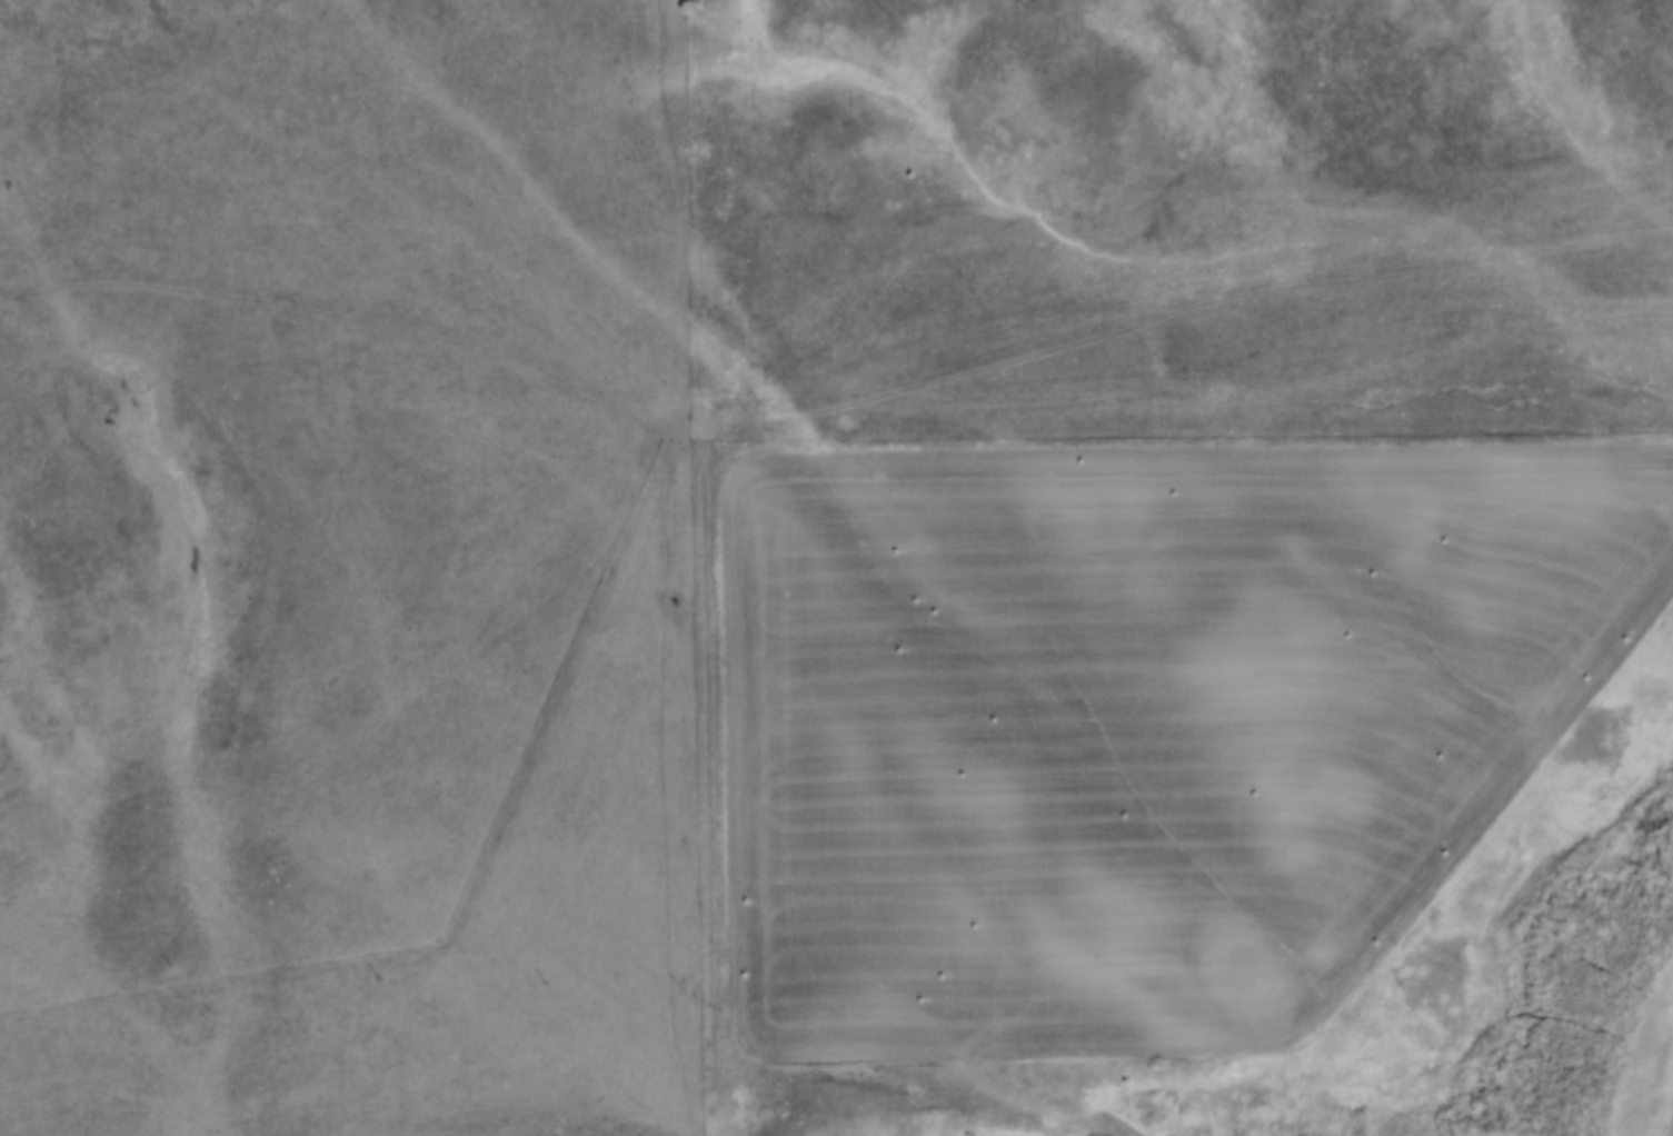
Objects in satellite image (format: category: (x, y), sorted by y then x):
road: (833, 408)

